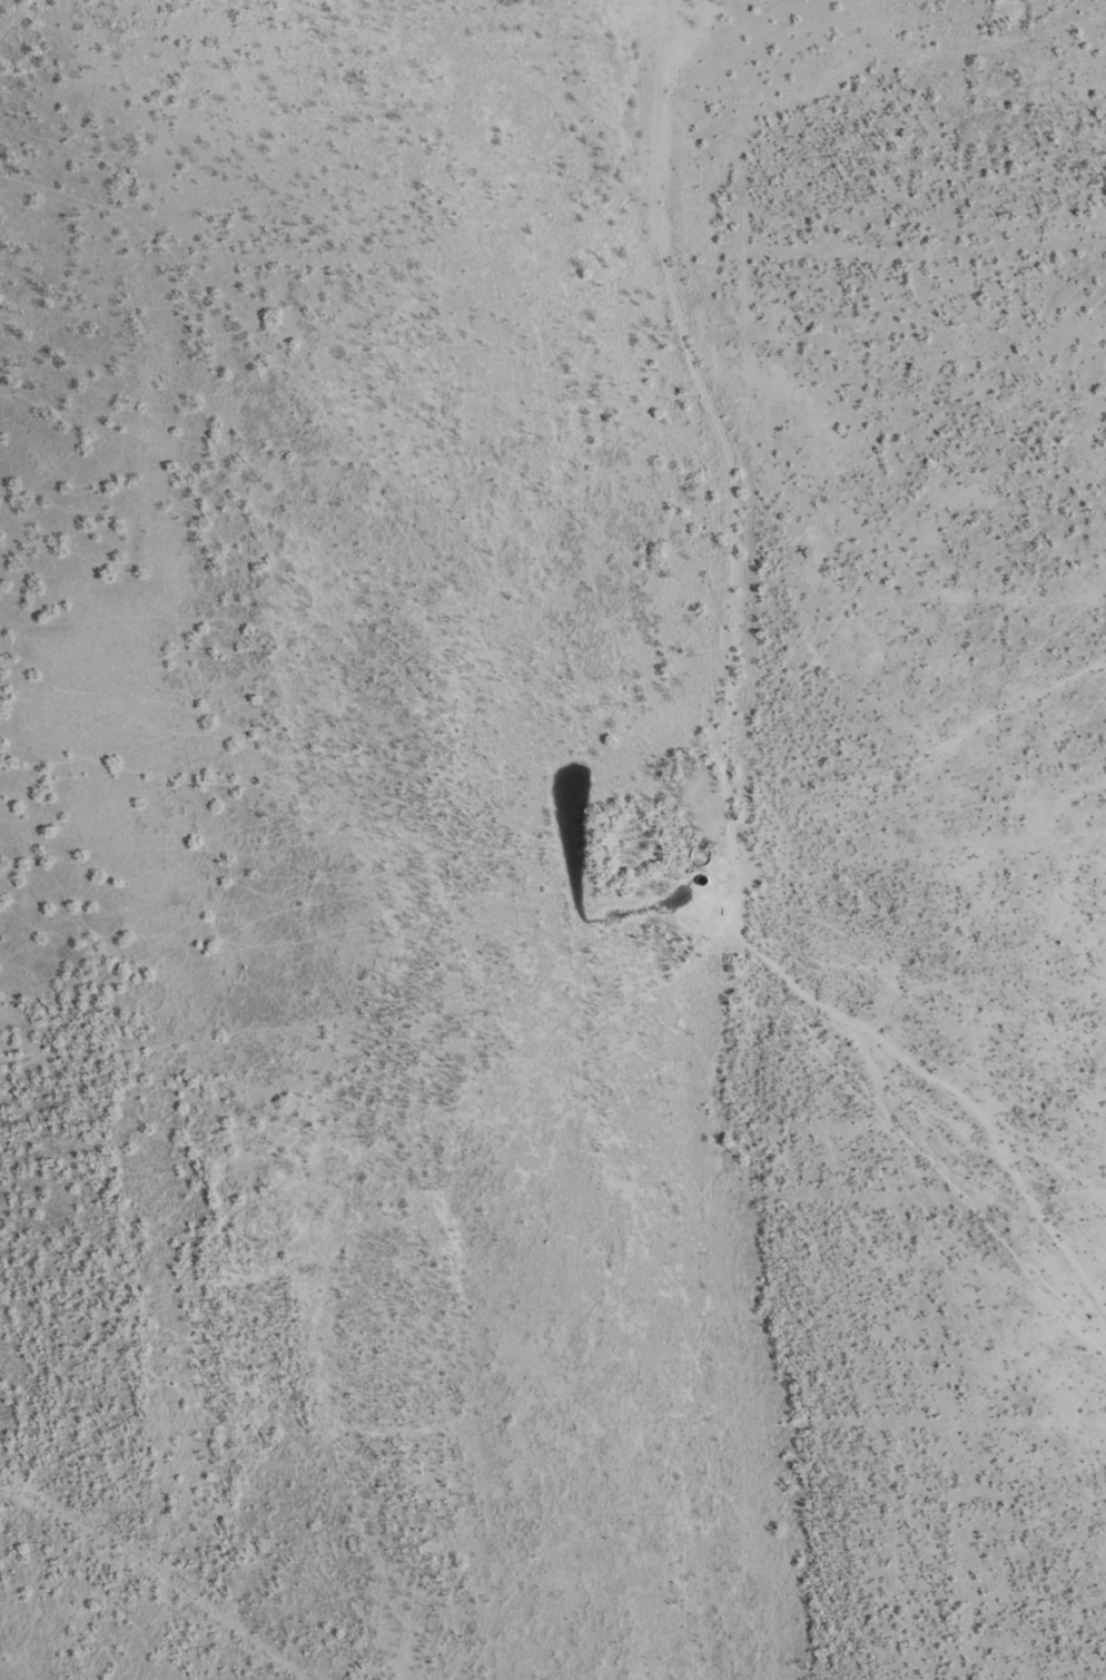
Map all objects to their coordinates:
road: (935, 1140)

